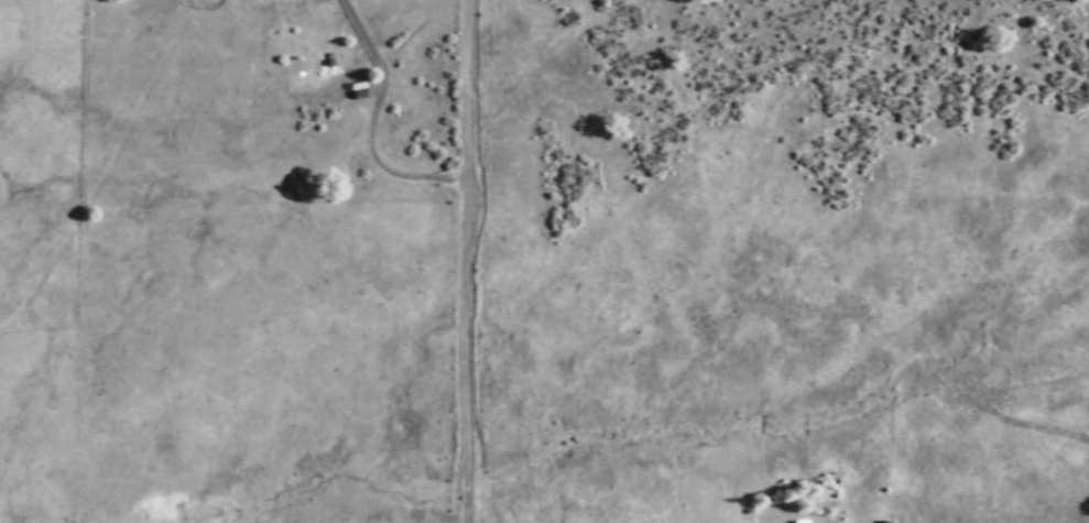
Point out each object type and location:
road: (469, 261)

